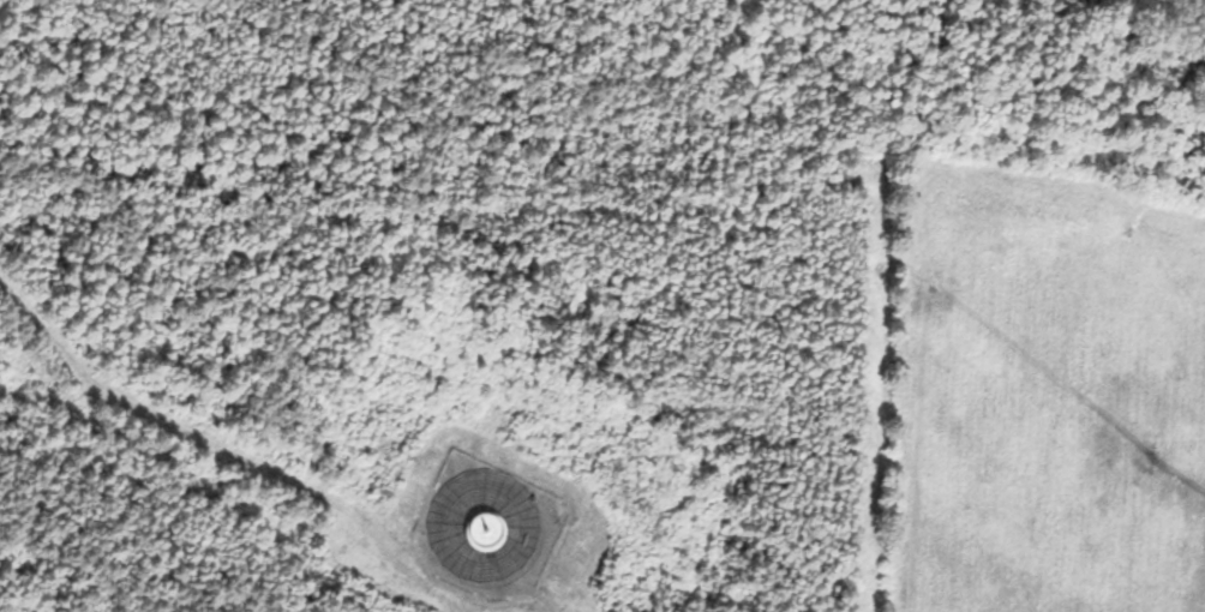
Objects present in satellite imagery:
building: (484, 529)

